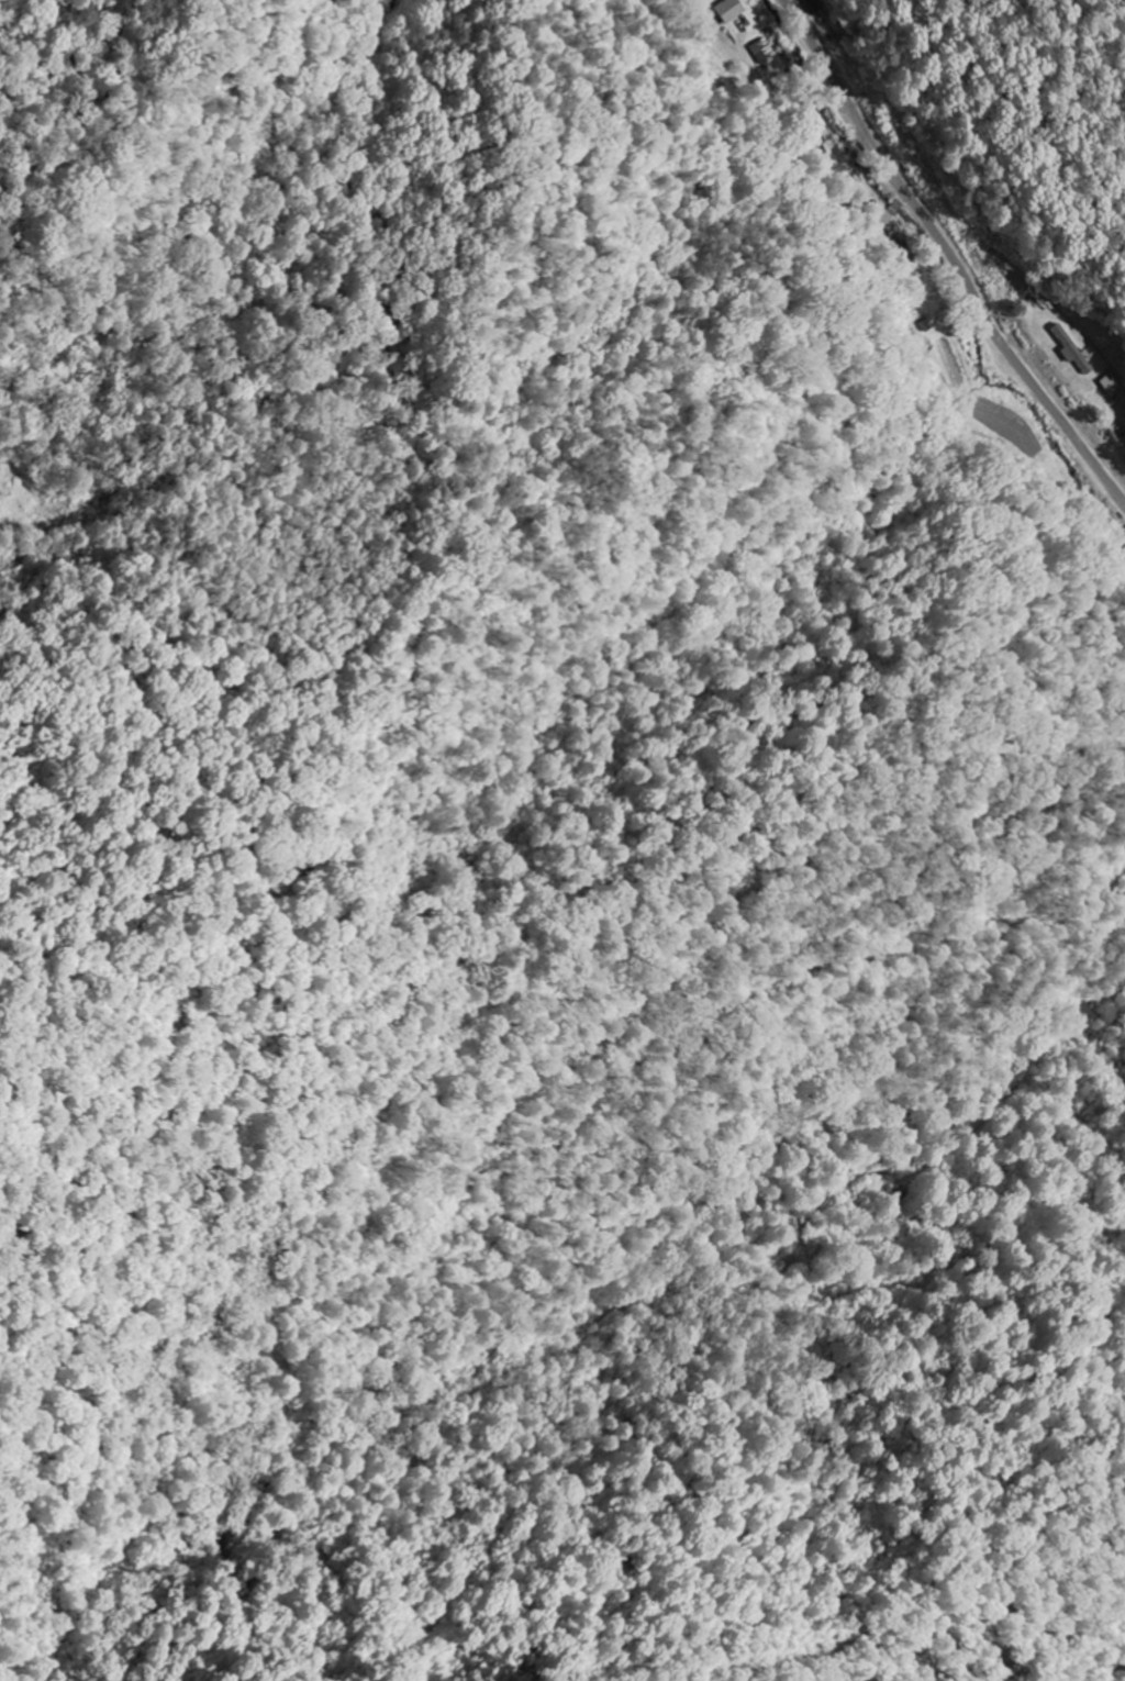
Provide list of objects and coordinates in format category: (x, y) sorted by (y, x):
building: (731, 10)
building: (765, 51)
road: (950, 252)

